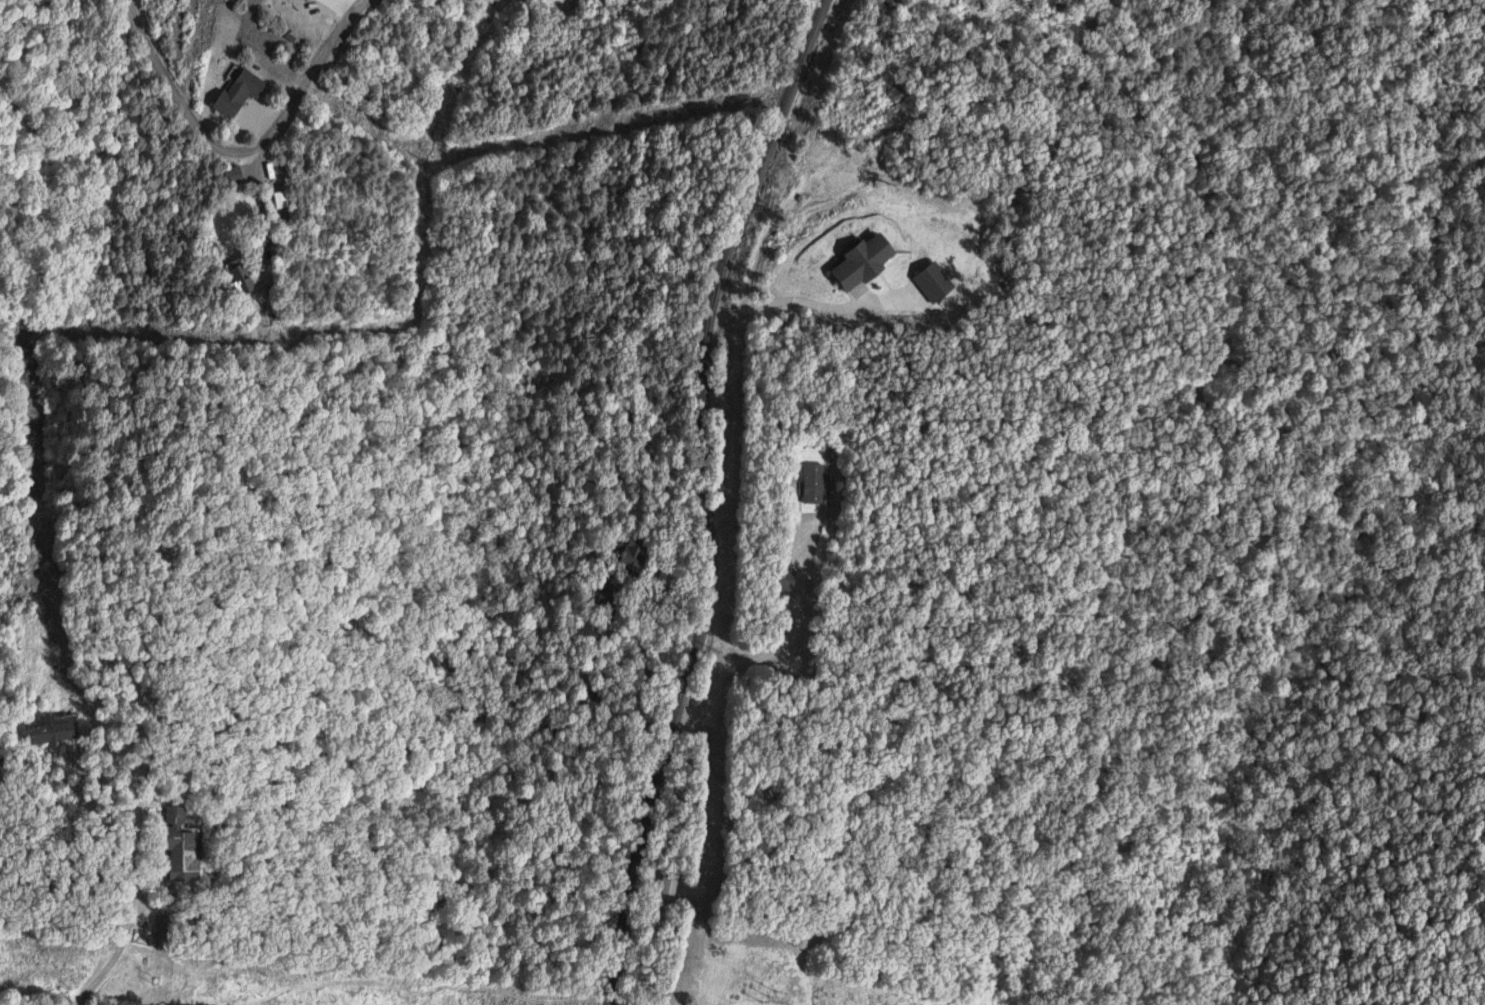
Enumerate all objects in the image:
building: (241, 92)
road: (243, 152)
building: (233, 175)
building: (281, 199)
road: (260, 203)
building: (863, 262)
road: (82, 276)
building: (934, 283)
building: (813, 482)
road: (704, 498)
building: (630, 552)
building: (786, 580)
building: (604, 594)
road: (784, 647)
road: (643, 659)
building: (55, 728)
building: (181, 847)
road: (147, 860)
power tower: (162, 979)
power tower: (769, 996)

